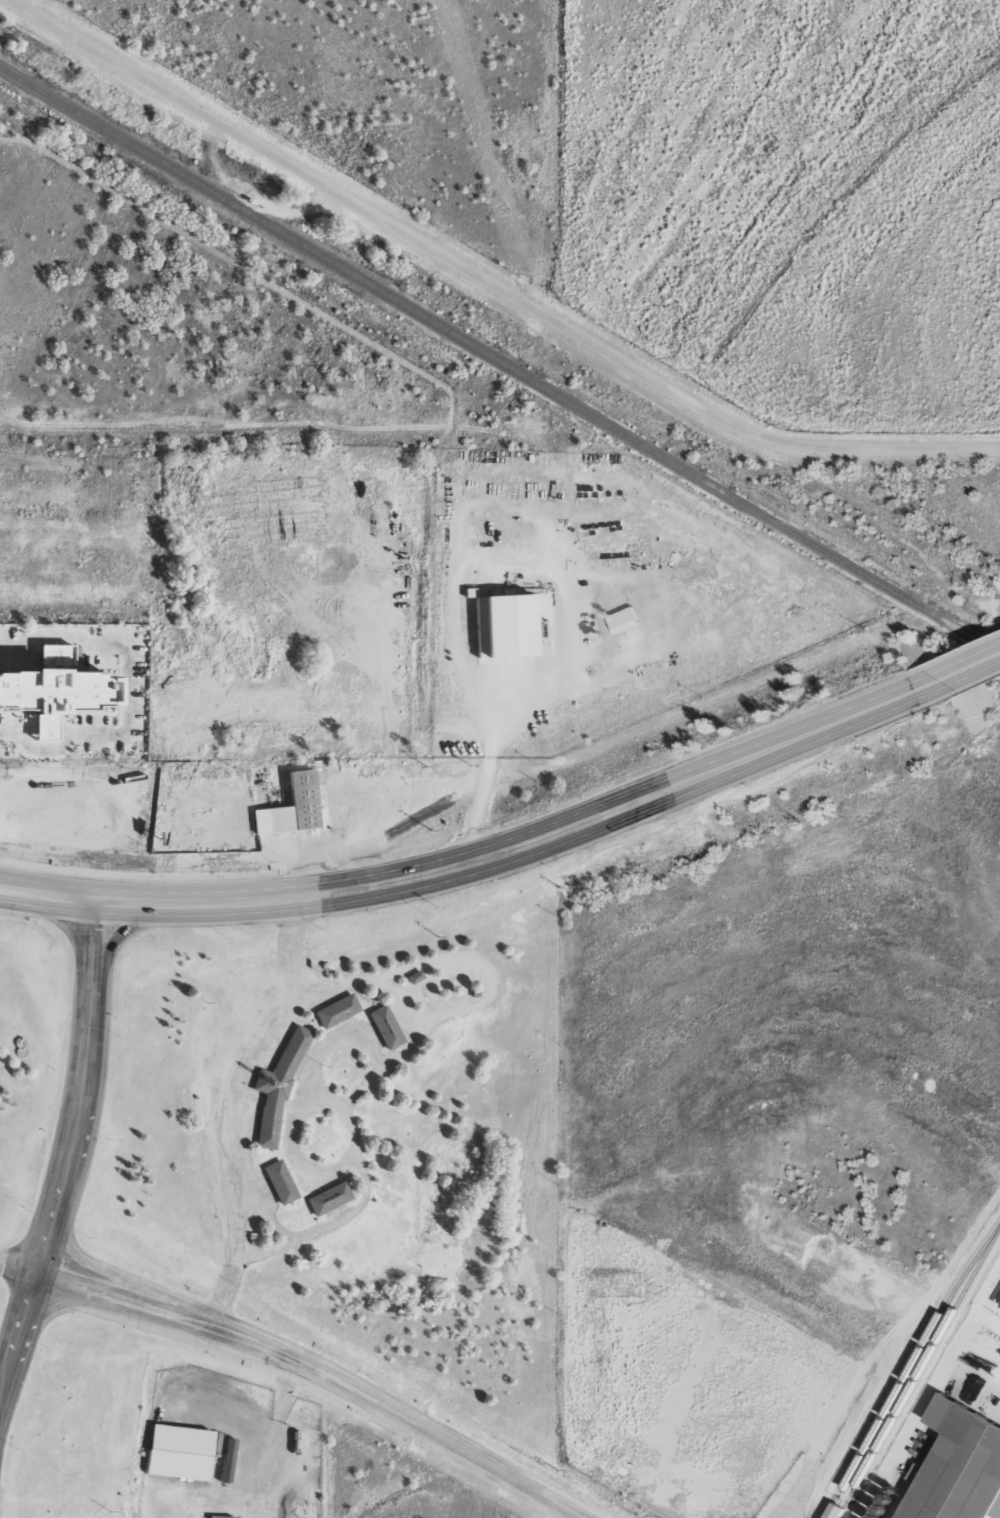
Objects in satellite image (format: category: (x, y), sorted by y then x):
road: (492, 280)
railway: (499, 362)
building: (627, 618)
building: (513, 624)
road: (962, 664)
building: (68, 681)
building: (288, 806)
road: (521, 844)
road: (46, 895)
road: (122, 933)
building: (334, 1011)
building: (383, 1027)
road: (86, 1050)
building: (275, 1089)
building: (277, 1181)
building: (326, 1198)
road: (44, 1234)
road: (16, 1266)
road: (128, 1283)
road: (136, 1305)
road: (51, 1313)
road: (14, 1329)
railway: (924, 1358)
railway: (911, 1362)
road: (370, 1397)
building: (185, 1452)
building: (956, 1470)
road: (540, 1492)
building: (842, 1511)

